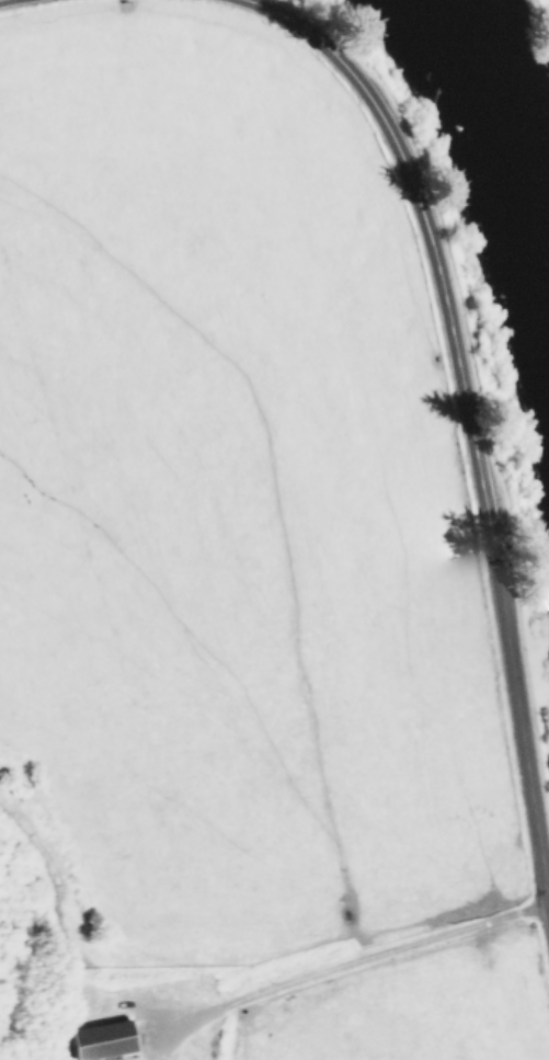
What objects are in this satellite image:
river: (499, 151)
road: (468, 421)
crop: (235, 567)
road: (348, 971)
building: (101, 1038)

